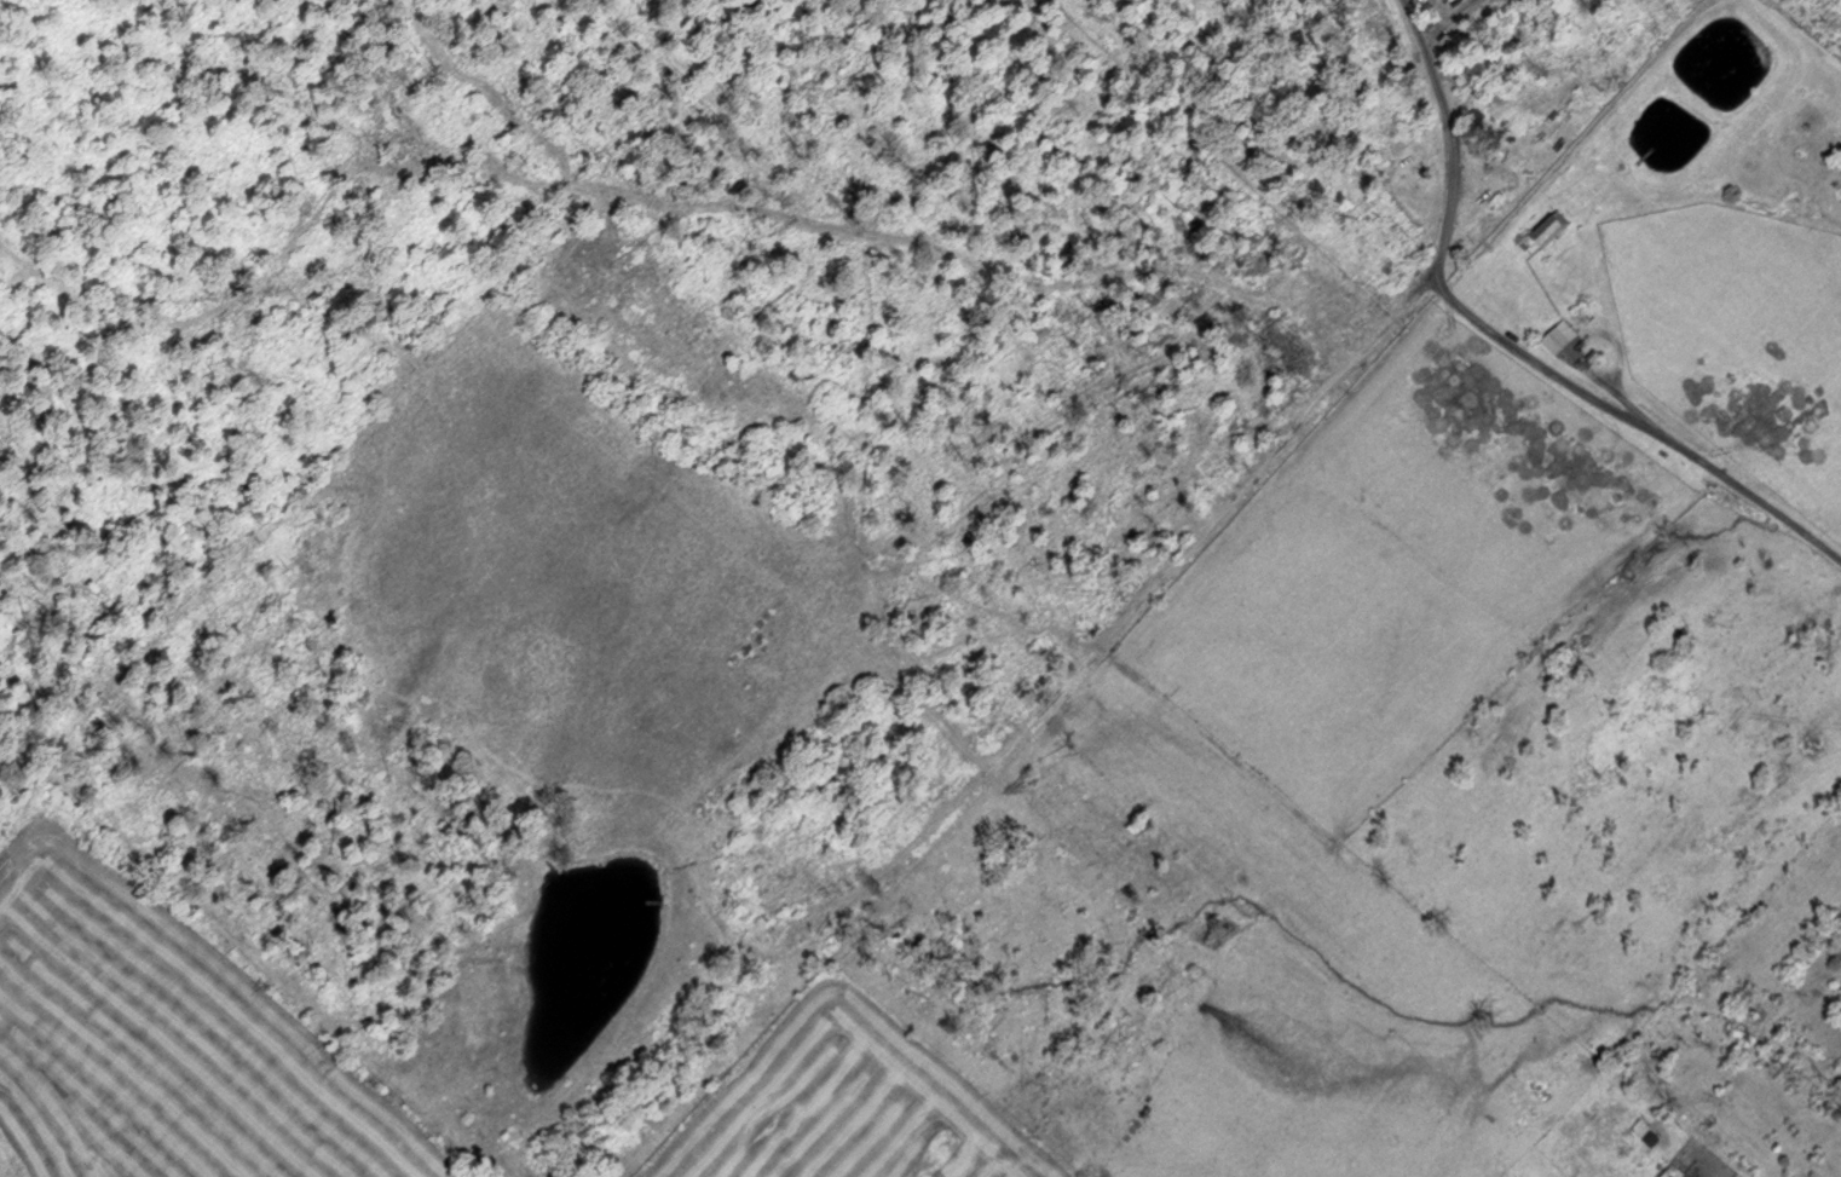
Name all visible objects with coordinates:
building: (1552, 227)
road: (1438, 283)
road: (1722, 475)
building: (1645, 1131)
building: (1675, 1171)

